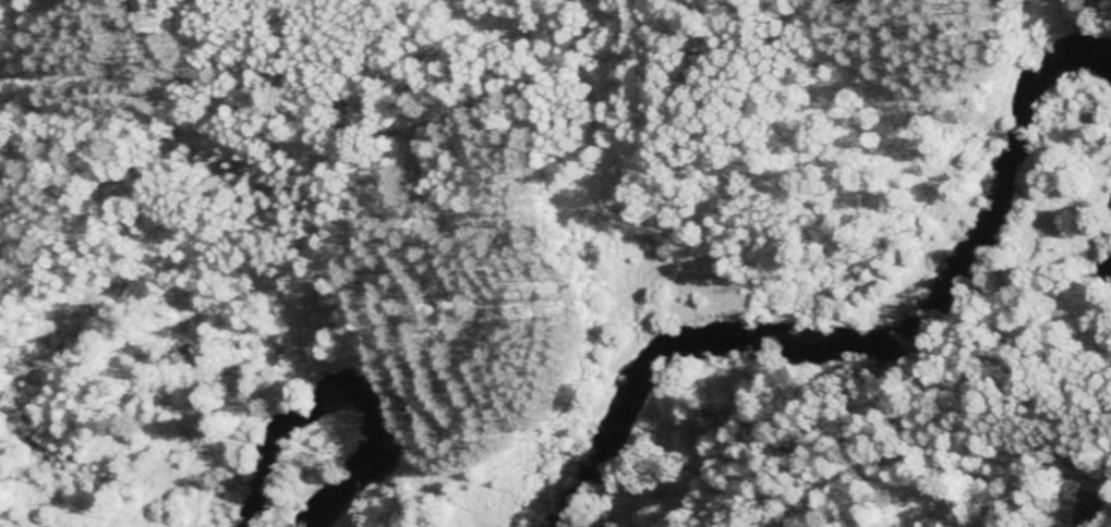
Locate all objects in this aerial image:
river: (886, 341)
river: (338, 395)
road: (927, 444)

